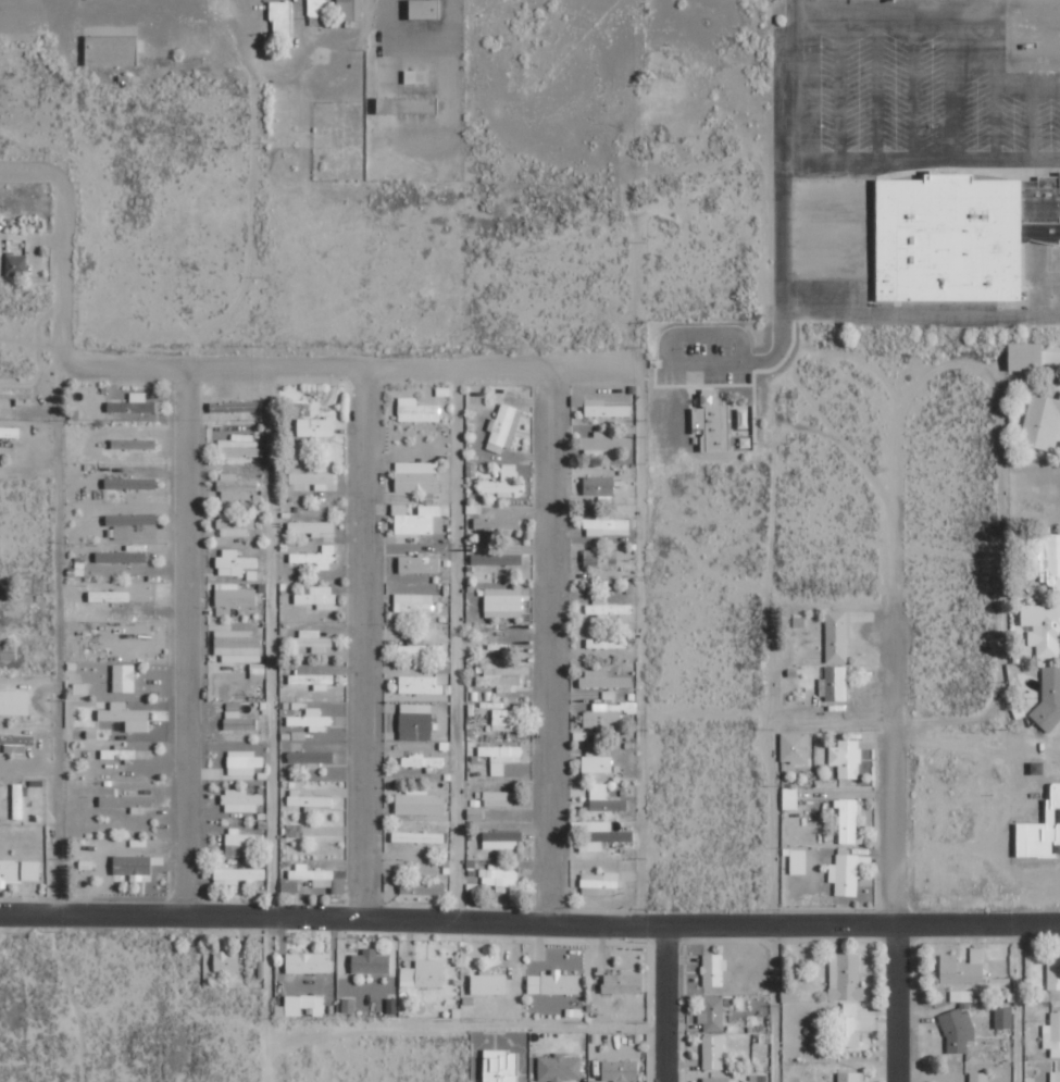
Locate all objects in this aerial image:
building: (425, 9)
building: (350, 10)
building: (317, 12)
building: (280, 20)
building: (111, 50)
building: (415, 76)
building: (407, 104)
building: (961, 235)
building: (15, 264)
road: (830, 355)
building: (1026, 357)
road: (348, 366)
building: (17, 395)
building: (136, 405)
building: (235, 407)
building: (606, 409)
building: (416, 411)
building: (713, 422)
building: (1042, 422)
building: (315, 426)
building: (503, 428)
building: (10, 432)
building: (134, 444)
building: (239, 448)
building: (417, 476)
building: (312, 481)
building: (130, 483)
building: (503, 483)
building: (599, 485)
building: (236, 487)
building: (399, 509)
building: (132, 519)
building: (421, 521)
building: (497, 523)
building: (233, 525)
building: (607, 526)
building: (312, 527)
building: (121, 532)
road: (772, 540)
road: (58, 546)
building: (122, 557)
building: (316, 558)
building: (600, 558)
building: (497, 559)
building: (1050, 559)
building: (234, 562)
building: (420, 563)
building: (78, 568)
building: (234, 595)
building: (109, 596)
building: (316, 596)
building: (503, 599)
building: (413, 602)
building: (607, 608)
building: (799, 621)
building: (1043, 629)
building: (837, 636)
road: (185, 639)
building: (313, 639)
road: (364, 641)
building: (607, 643)
road: (453, 644)
building: (237, 645)
road: (550, 646)
road: (637, 646)
building: (421, 649)
building: (258, 670)
building: (124, 677)
building: (310, 677)
building: (498, 681)
building: (603, 681)
building: (834, 684)
building: (421, 685)
building: (79, 689)
road: (267, 692)
building: (1049, 694)
building: (14, 702)
building: (608, 714)
building: (126, 717)
building: (311, 720)
building: (503, 720)
road: (896, 720)
building: (238, 721)
building: (415, 721)
building: (16, 743)
building: (795, 747)
building: (127, 754)
building: (310, 757)
building: (500, 757)
building: (846, 758)
building: (422, 761)
building: (244, 762)
building: (597, 764)
building: (1037, 768)
building: (499, 798)
building: (603, 798)
building: (790, 798)
building: (18, 800)
building: (240, 800)
building: (126, 801)
building: (310, 801)
building: (420, 804)
building: (848, 819)
building: (294, 830)
building: (1042, 831)
building: (600, 835)
building: (417, 837)
building: (501, 840)
building: (241, 842)
building: (798, 861)
building: (132, 865)
building: (30, 871)
building: (9, 872)
building: (237, 874)
building: (500, 874)
building: (314, 876)
building: (599, 884)
building: (289, 886)
building: (422, 886)
road: (529, 923)
building: (226, 960)
building: (371, 961)
building: (308, 962)
building: (963, 967)
building: (714, 969)
building: (1053, 971)
building: (424, 973)
building: (846, 977)
building: (488, 983)
building: (553, 983)
building: (623, 983)
building: (789, 995)
building: (962, 995)
road: (665, 1003)
building: (304, 1004)
building: (348, 1005)
building: (850, 1008)
building: (712, 1013)
building: (1003, 1017)
building: (958, 1031)
building: (849, 1032)
building: (1052, 1034)
building: (713, 1052)
building: (501, 1066)
building: (559, 1068)
building: (620, 1070)
building: (1056, 1075)
building: (851, 1077)
building: (978, 1077)
building: (716, 1079)

